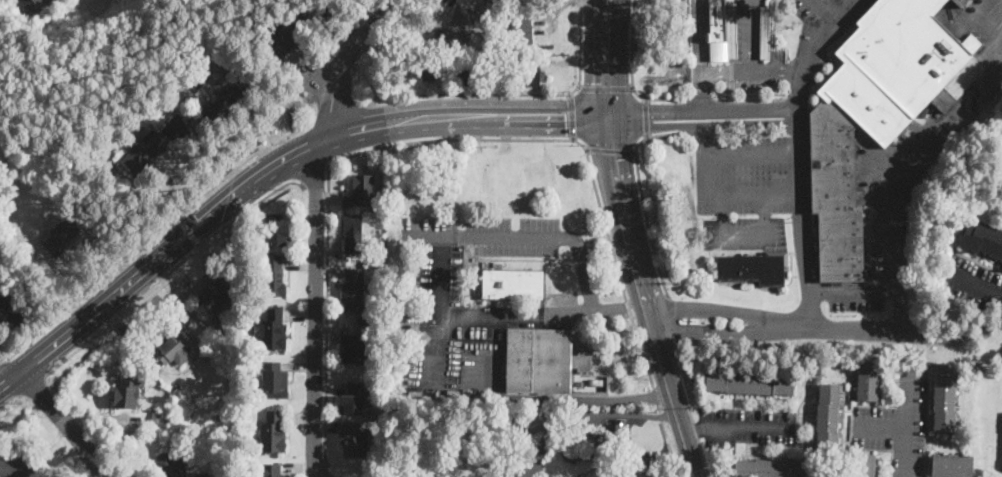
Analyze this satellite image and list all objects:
building: (960, 3)
building: (34, 4)
building: (314, 9)
road: (825, 10)
road: (847, 10)
parking lot: (830, 12)
building: (460, 25)
building: (520, 26)
building: (722, 30)
building: (763, 31)
road: (745, 35)
road: (753, 35)
road: (704, 36)
road: (695, 37)
building: (284, 40)
road: (605, 59)
road: (806, 60)
road: (347, 61)
building: (223, 65)
building: (432, 71)
road: (749, 72)
building: (137, 74)
building: (533, 76)
building: (471, 77)
road: (631, 79)
traffic signals: (605, 82)
road: (605, 87)
building: (177, 89)
road: (698, 91)
road: (515, 93)
building: (223, 102)
road: (701, 109)
traffic signals: (650, 111)
road: (337, 112)
building: (874, 112)
road: (572, 116)
road: (646, 117)
traffic signals: (565, 118)
road: (426, 119)
road: (701, 126)
road: (472, 139)
road: (611, 151)
building: (144, 156)
road: (750, 157)
traffic signals: (612, 159)
building: (1001, 169)
road: (315, 176)
road: (901, 180)
road: (641, 187)
building: (361, 191)
parking lot: (746, 191)
road: (716, 196)
road: (798, 218)
road: (188, 230)
building: (275, 231)
road: (155, 233)
building: (352, 233)
building: (61, 237)
road: (487, 237)
building: (983, 239)
road: (743, 240)
building: (754, 268)
road: (170, 270)
road: (584, 270)
building: (274, 276)
road: (129, 282)
parking lot: (971, 283)
building: (513, 284)
road: (978, 286)
road: (853, 291)
parking lot: (458, 292)
building: (353, 293)
building: (215, 296)
parking lot: (855, 296)
road: (642, 299)
building: (12, 306)
road: (601, 309)
road: (440, 311)
parking lot: (545, 311)
road: (314, 312)
road: (499, 320)
road: (671, 323)
road: (827, 328)
building: (275, 330)
parking lot: (0, 345)
building: (230, 345)
building: (352, 348)
building: (174, 349)
road: (3, 360)
building: (542, 361)
road: (4, 374)
building: (868, 380)
building: (589, 381)
building: (273, 382)
building: (750, 382)
road: (31, 385)
building: (127, 393)
building: (945, 398)
road: (573, 399)
building: (354, 400)
road: (10, 401)
road: (689, 407)
building: (828, 418)
building: (163, 419)
road: (906, 419)
road: (64, 420)
parking lot: (897, 421)
road: (736, 425)
parking lot: (746, 425)
road: (881, 427)
building: (274, 432)
building: (615, 436)
building: (354, 440)
building: (863, 465)
building: (170, 466)
building: (17, 467)
building: (951, 467)
building: (773, 469)
building: (189, 470)
building: (270, 470)
building: (512, 471)
building: (206, 474)
building: (233, 474)

